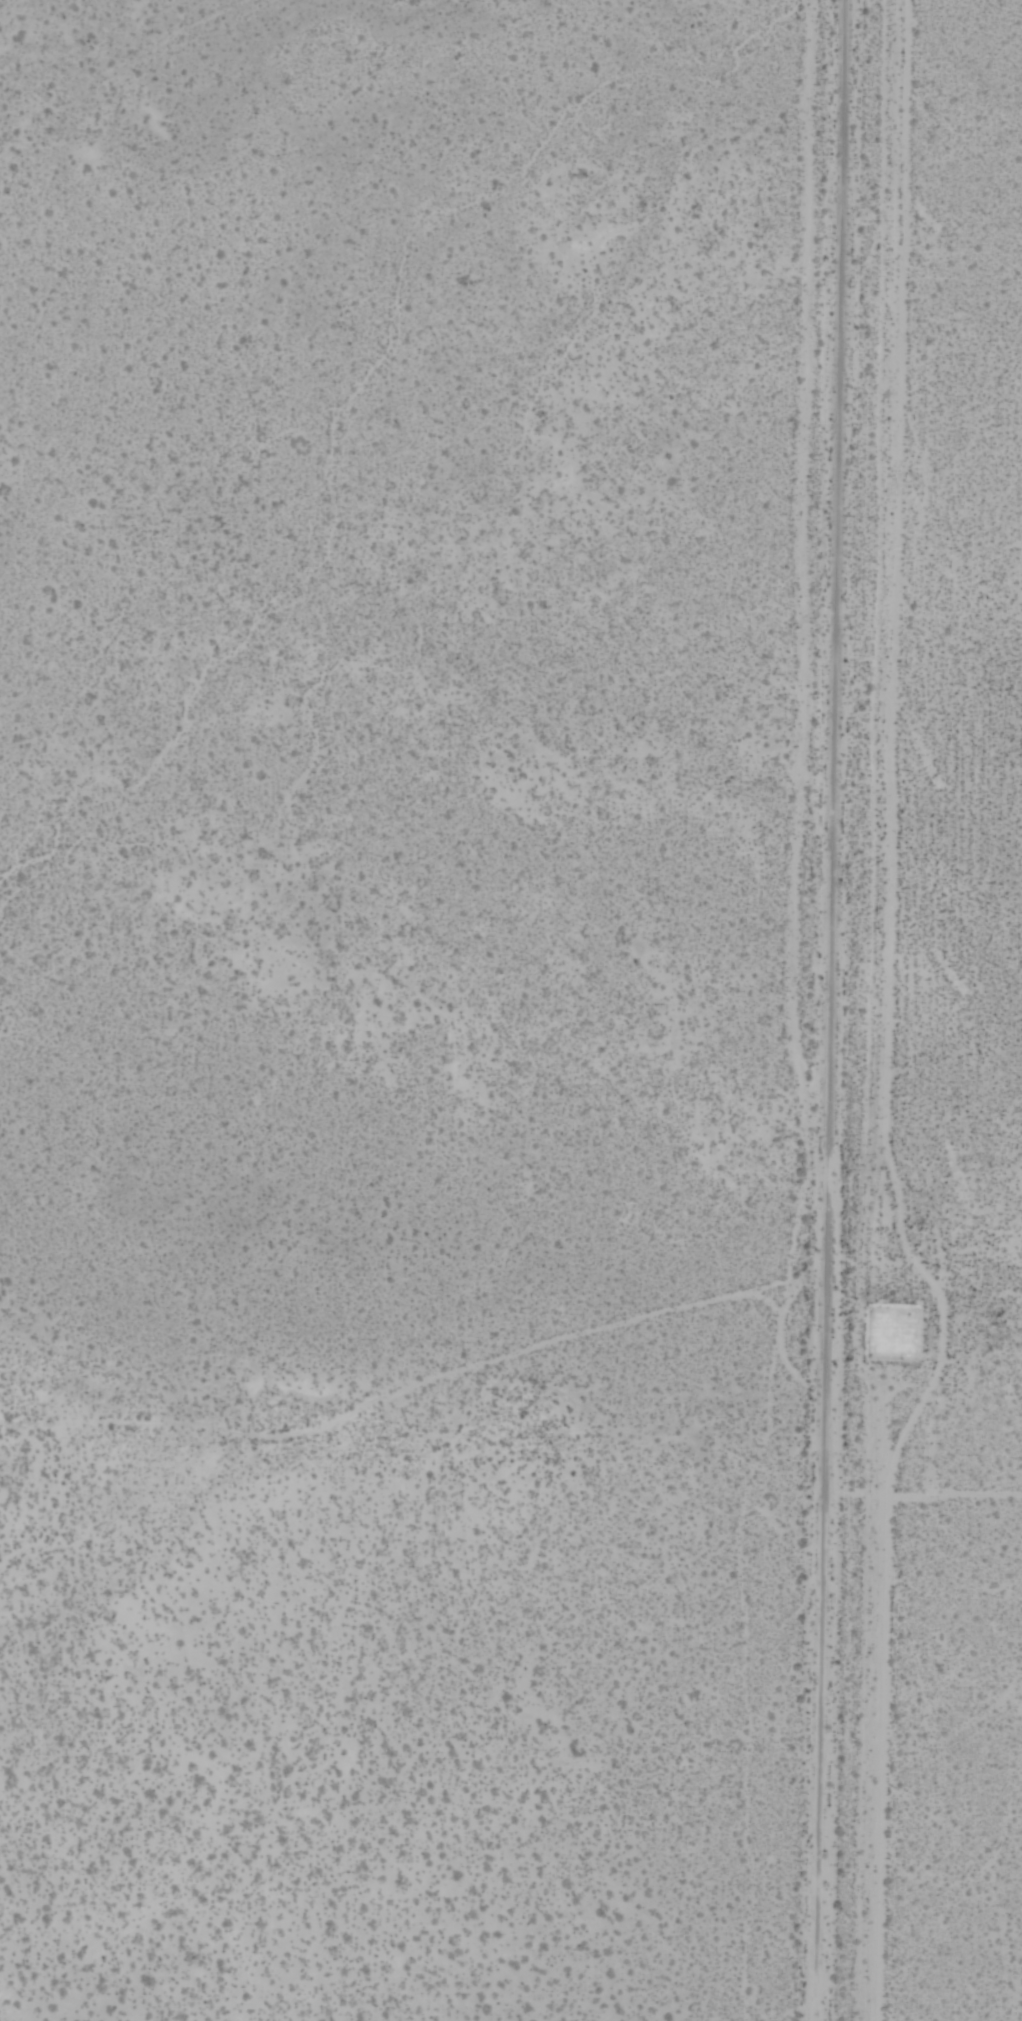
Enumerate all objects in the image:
road: (831, 1010)
airport: (969, 1049)

